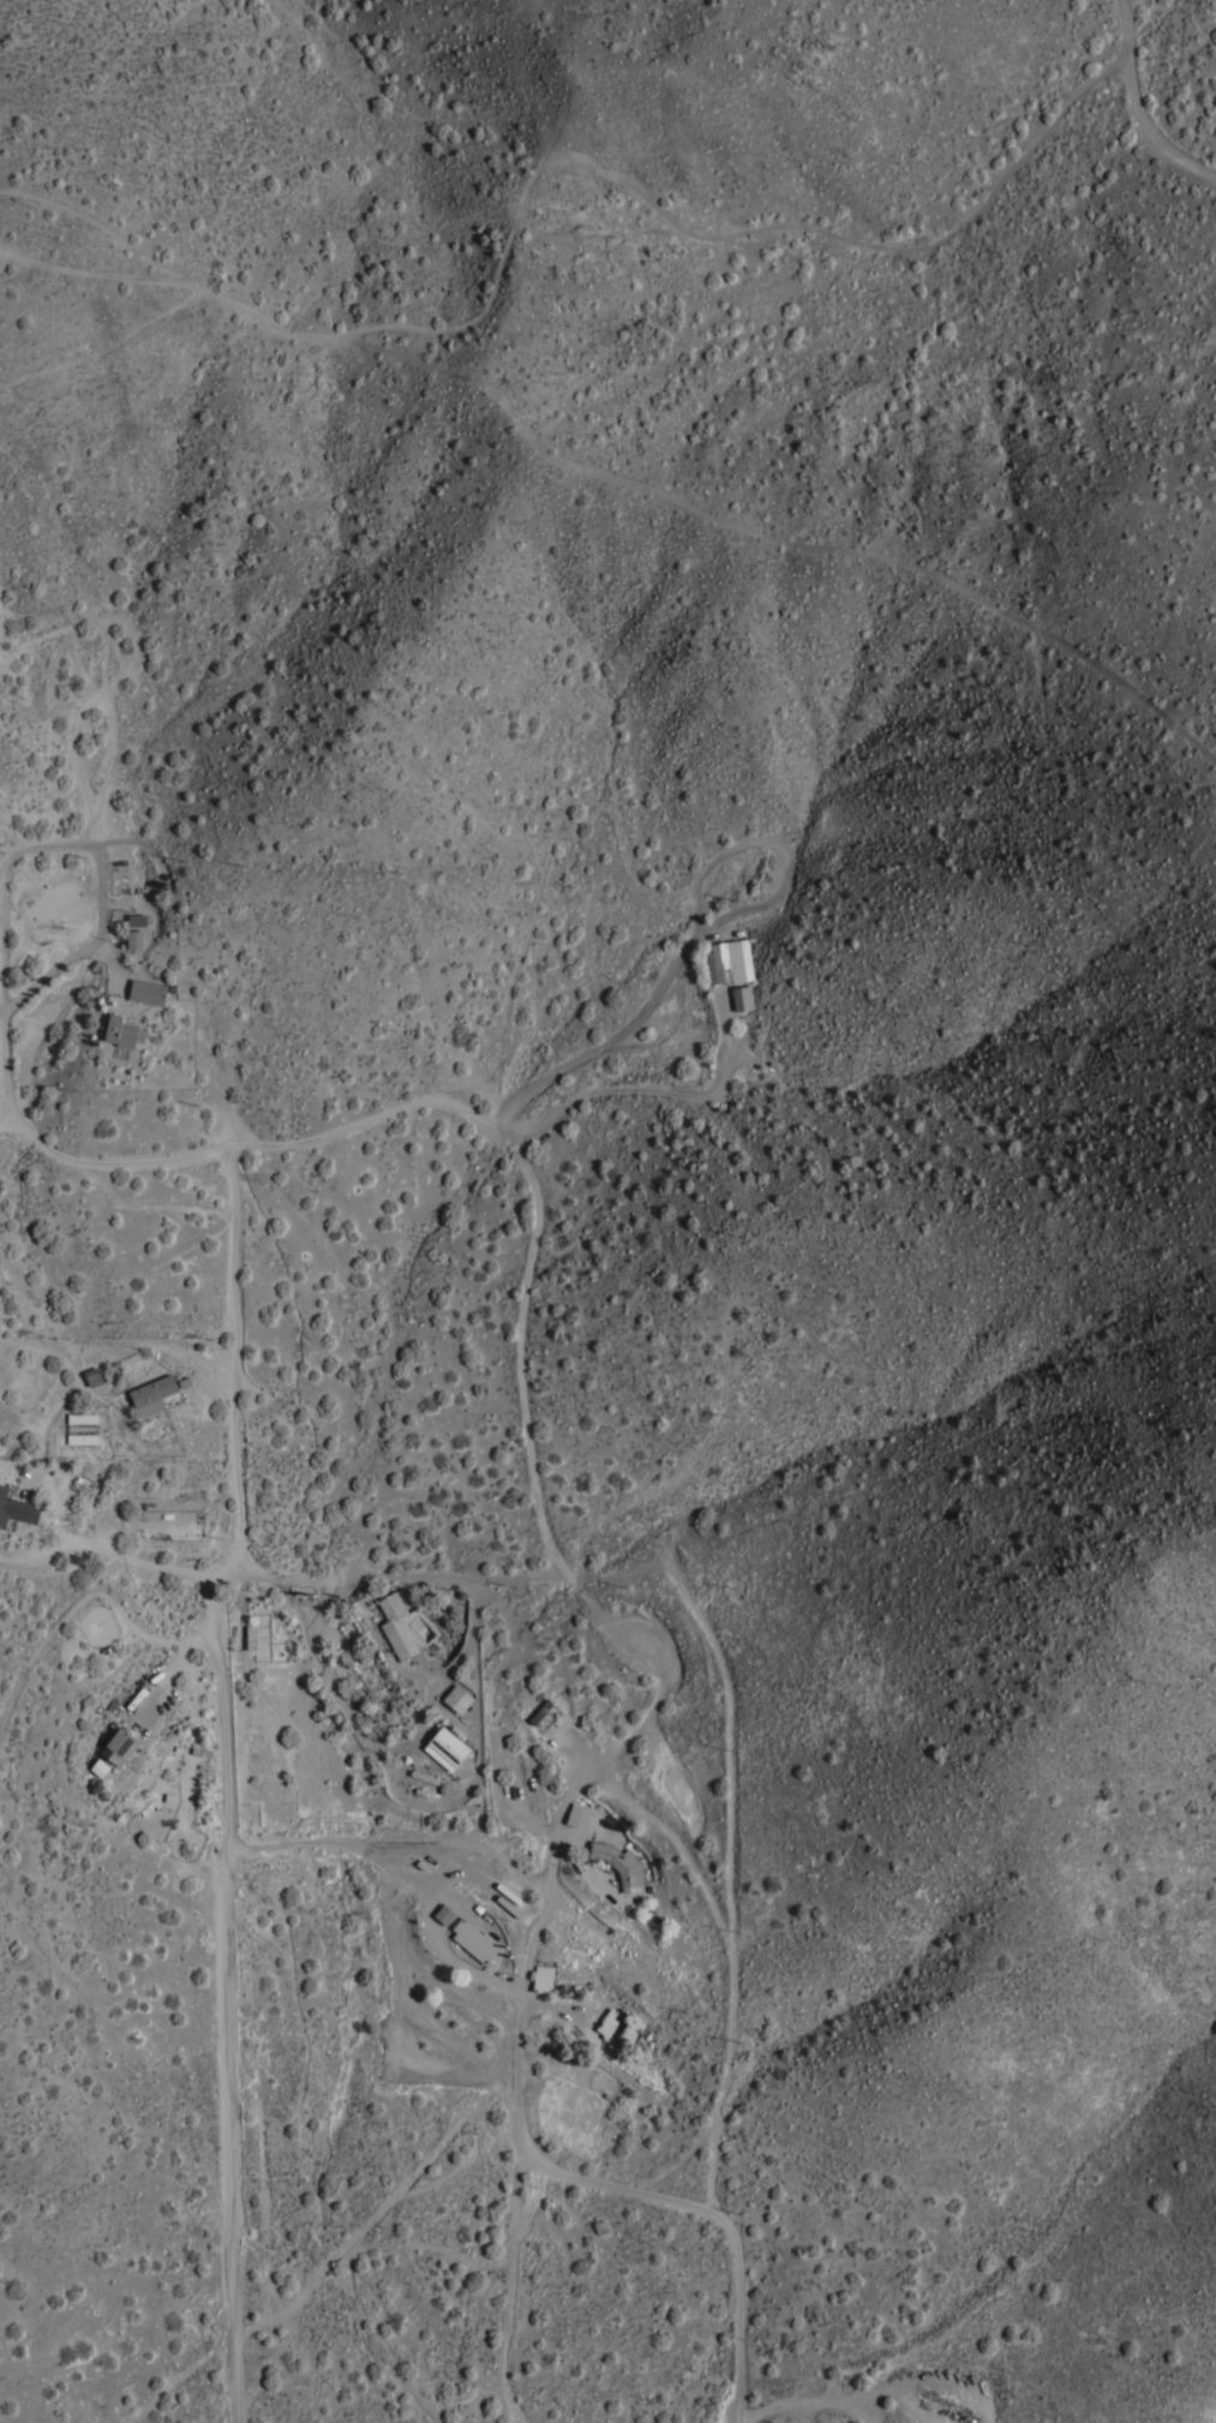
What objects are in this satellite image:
road: (1137, 109)
road: (106, 873)
road: (682, 892)
building: (136, 919)
building: (133, 938)
building: (730, 961)
building: (148, 991)
building: (741, 997)
building: (120, 1030)
road: (639, 1089)
road: (254, 1145)
building: (92, 1375)
building: (152, 1393)
building: (82, 1417)
building: (82, 1437)
road: (531, 1464)
building: (16, 1507)
road: (145, 1556)
road: (394, 1578)
building: (396, 1623)
building: (251, 1635)
road: (168, 1670)
building: (457, 1698)
building: (119, 1745)
building: (445, 1747)
road: (224, 1779)
building: (577, 1814)
road: (394, 1837)
building: (619, 1863)
building: (445, 1913)
road: (535, 1921)
building: (473, 1939)
road: (455, 1963)
building: (543, 1978)
road: (553, 2002)
building: (621, 2026)
road: (712, 2210)
road: (508, 2275)

